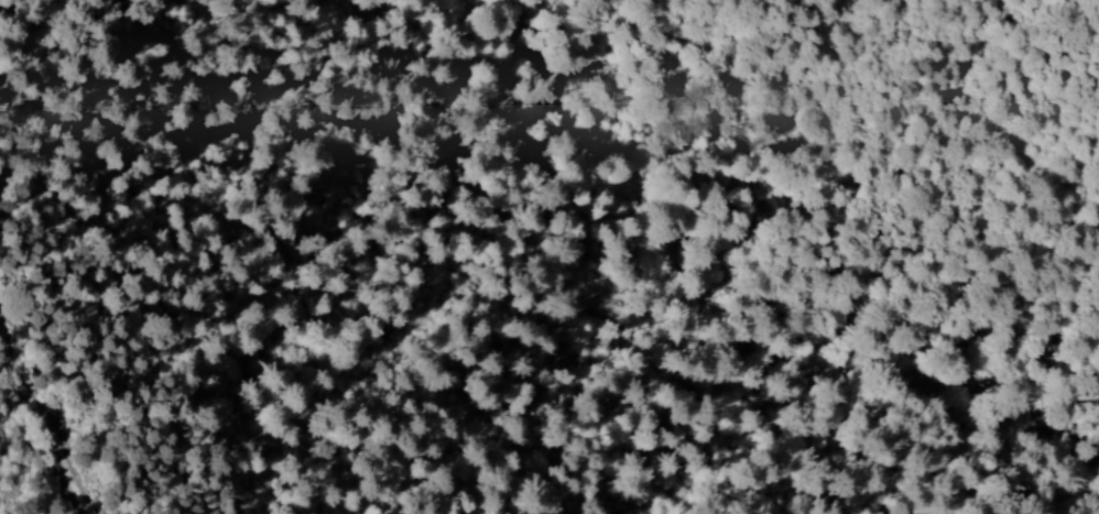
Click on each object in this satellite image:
road: (47, 436)

